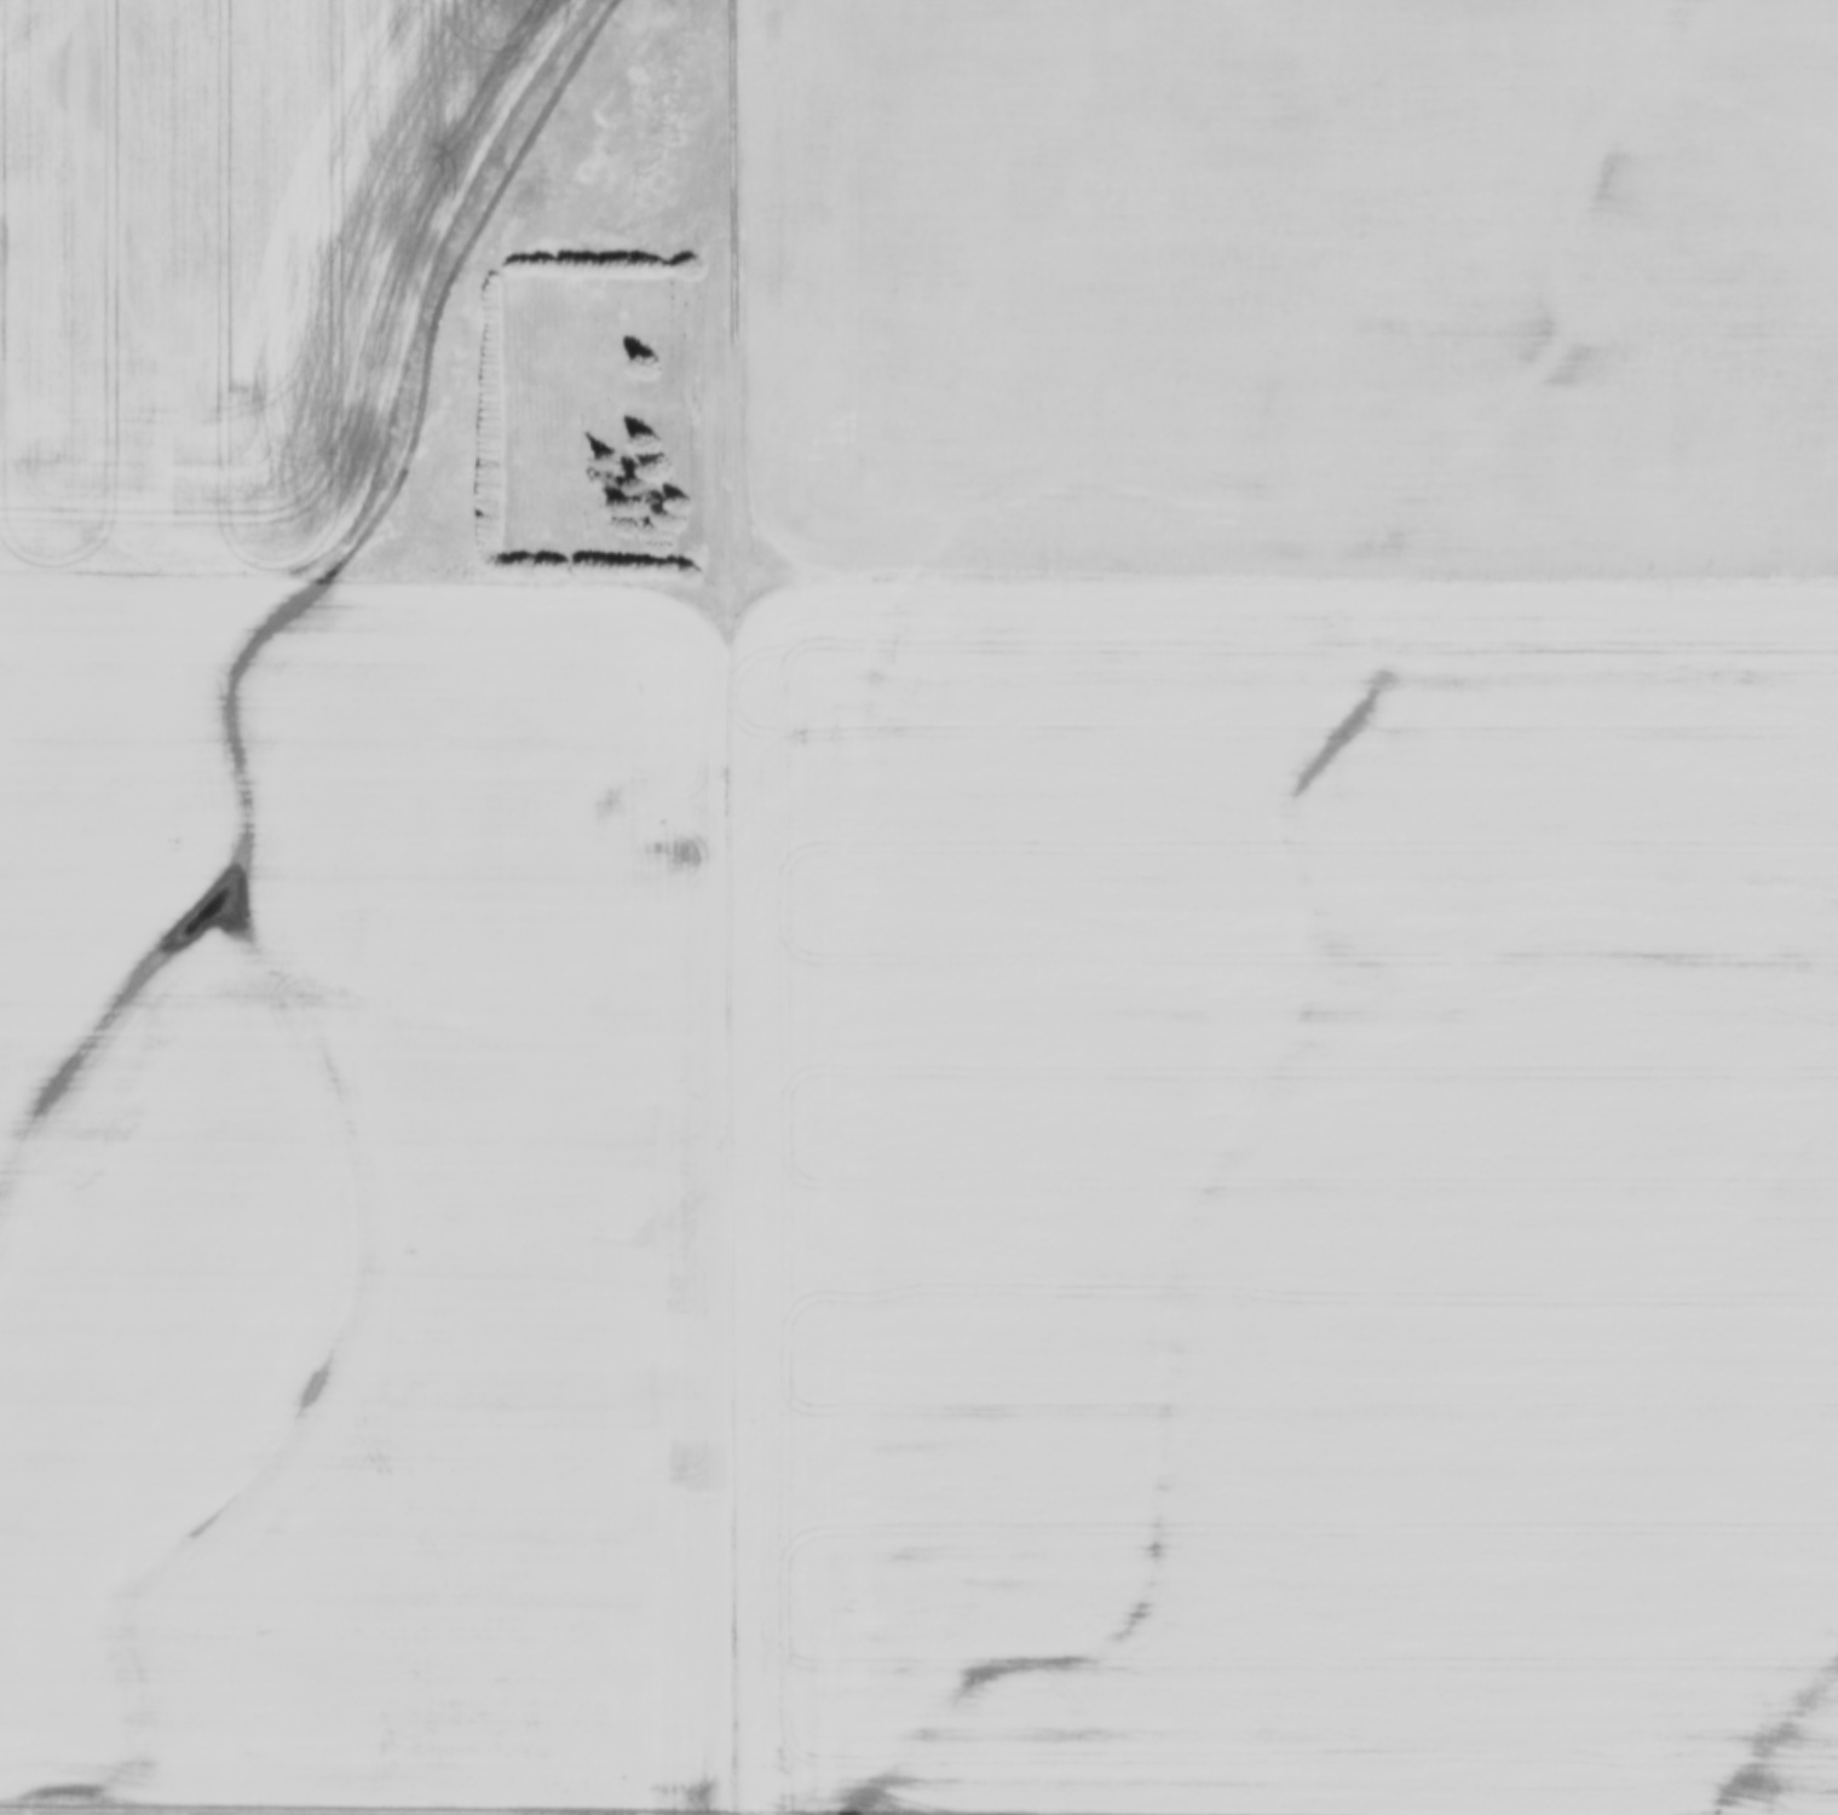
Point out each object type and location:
road: (738, 277)
park: (597, 415)
road: (732, 1804)

